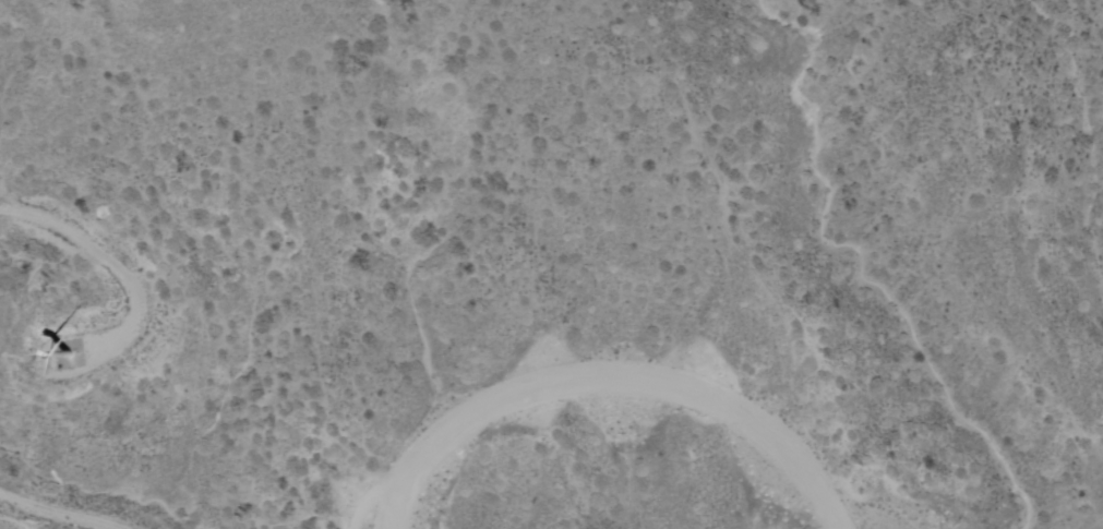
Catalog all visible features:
wind turbine: (75, 356)

